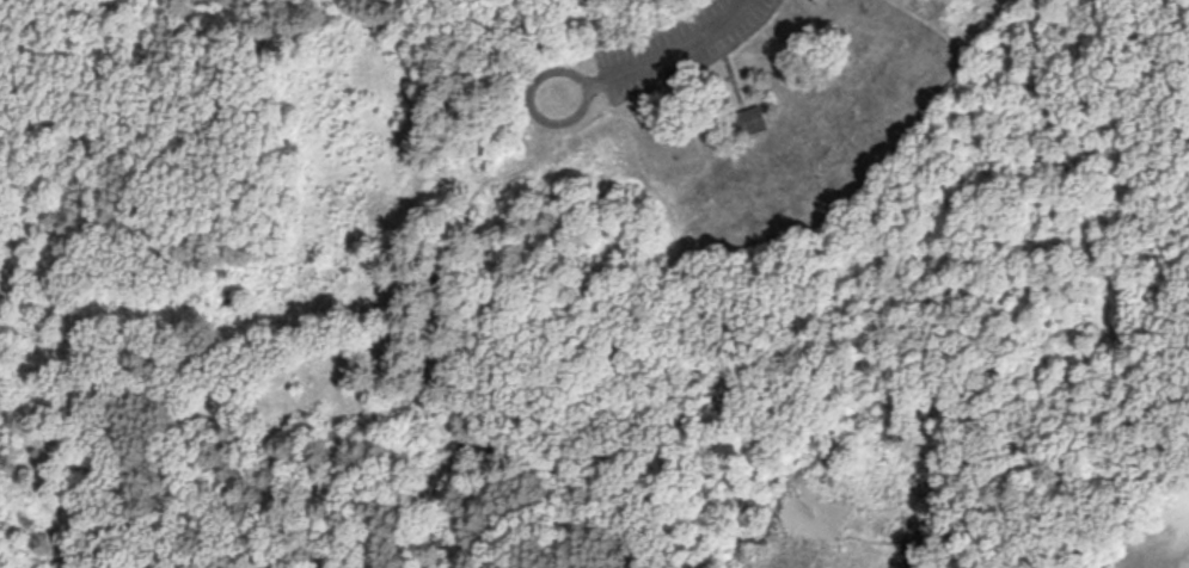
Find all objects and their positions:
building: (814, 0)
road: (927, 8)
road: (1154, 43)
parking lot: (675, 44)
road: (676, 49)
road: (559, 63)
road: (704, 63)
road: (733, 81)
building: (746, 121)
park: (672, 150)
road: (382, 248)
park: (594, 284)
road: (593, 373)
road: (207, 388)
road: (565, 511)

